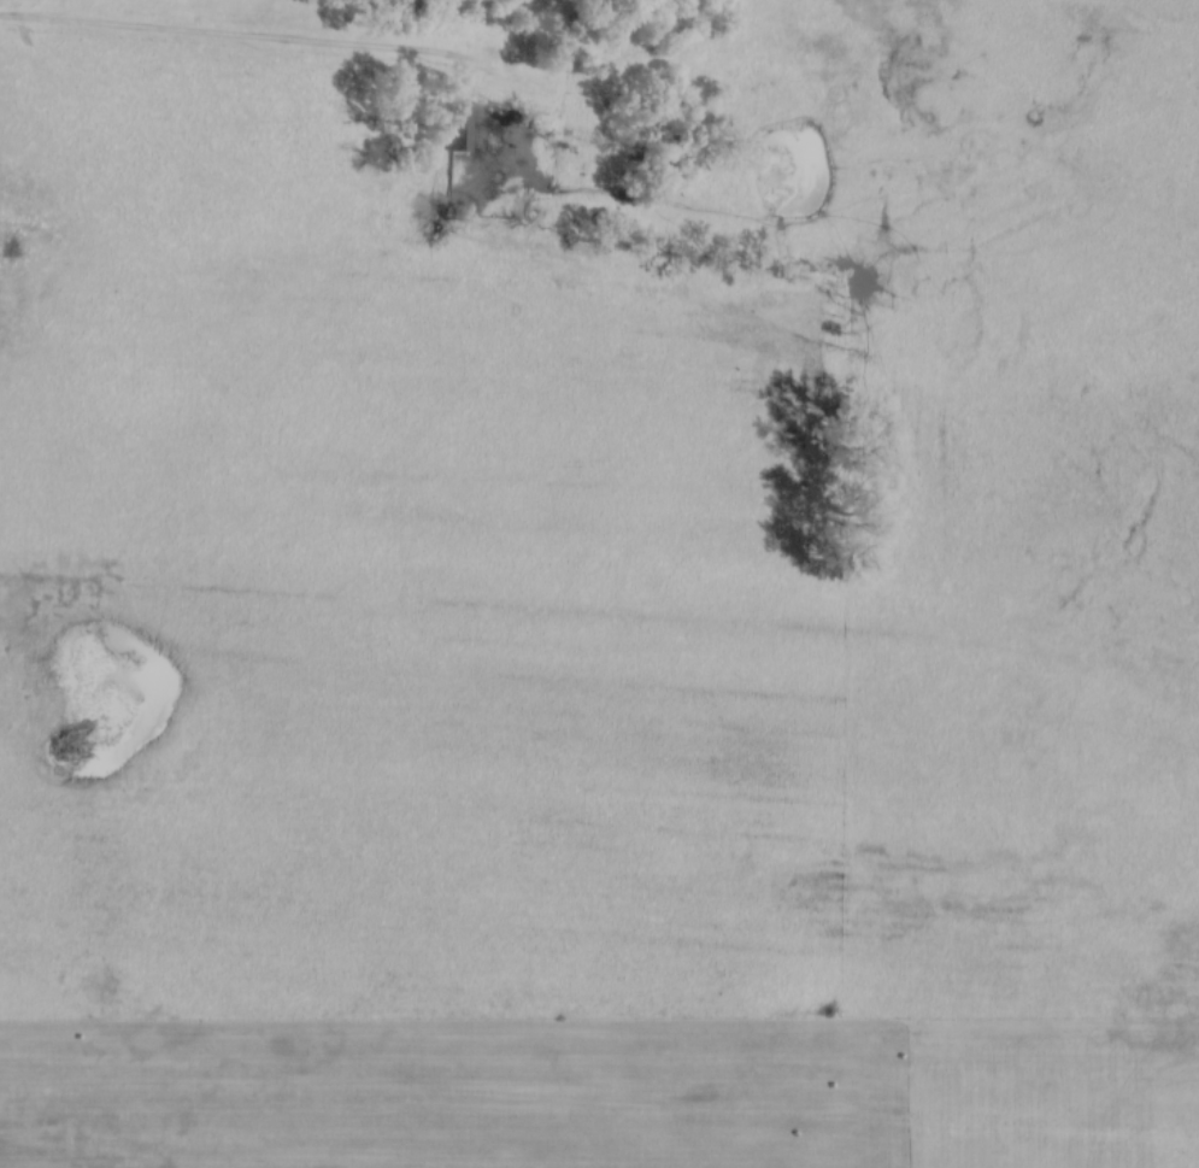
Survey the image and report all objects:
road: (283, 47)
building: (459, 131)

